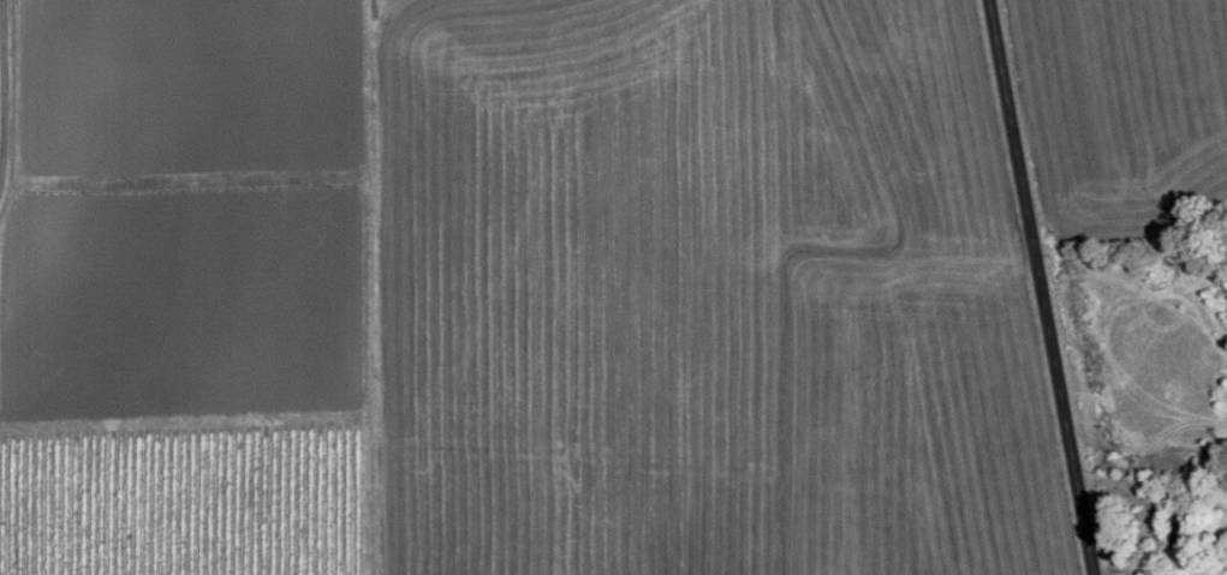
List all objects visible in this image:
road: (1044, 287)
building: (1180, 522)

